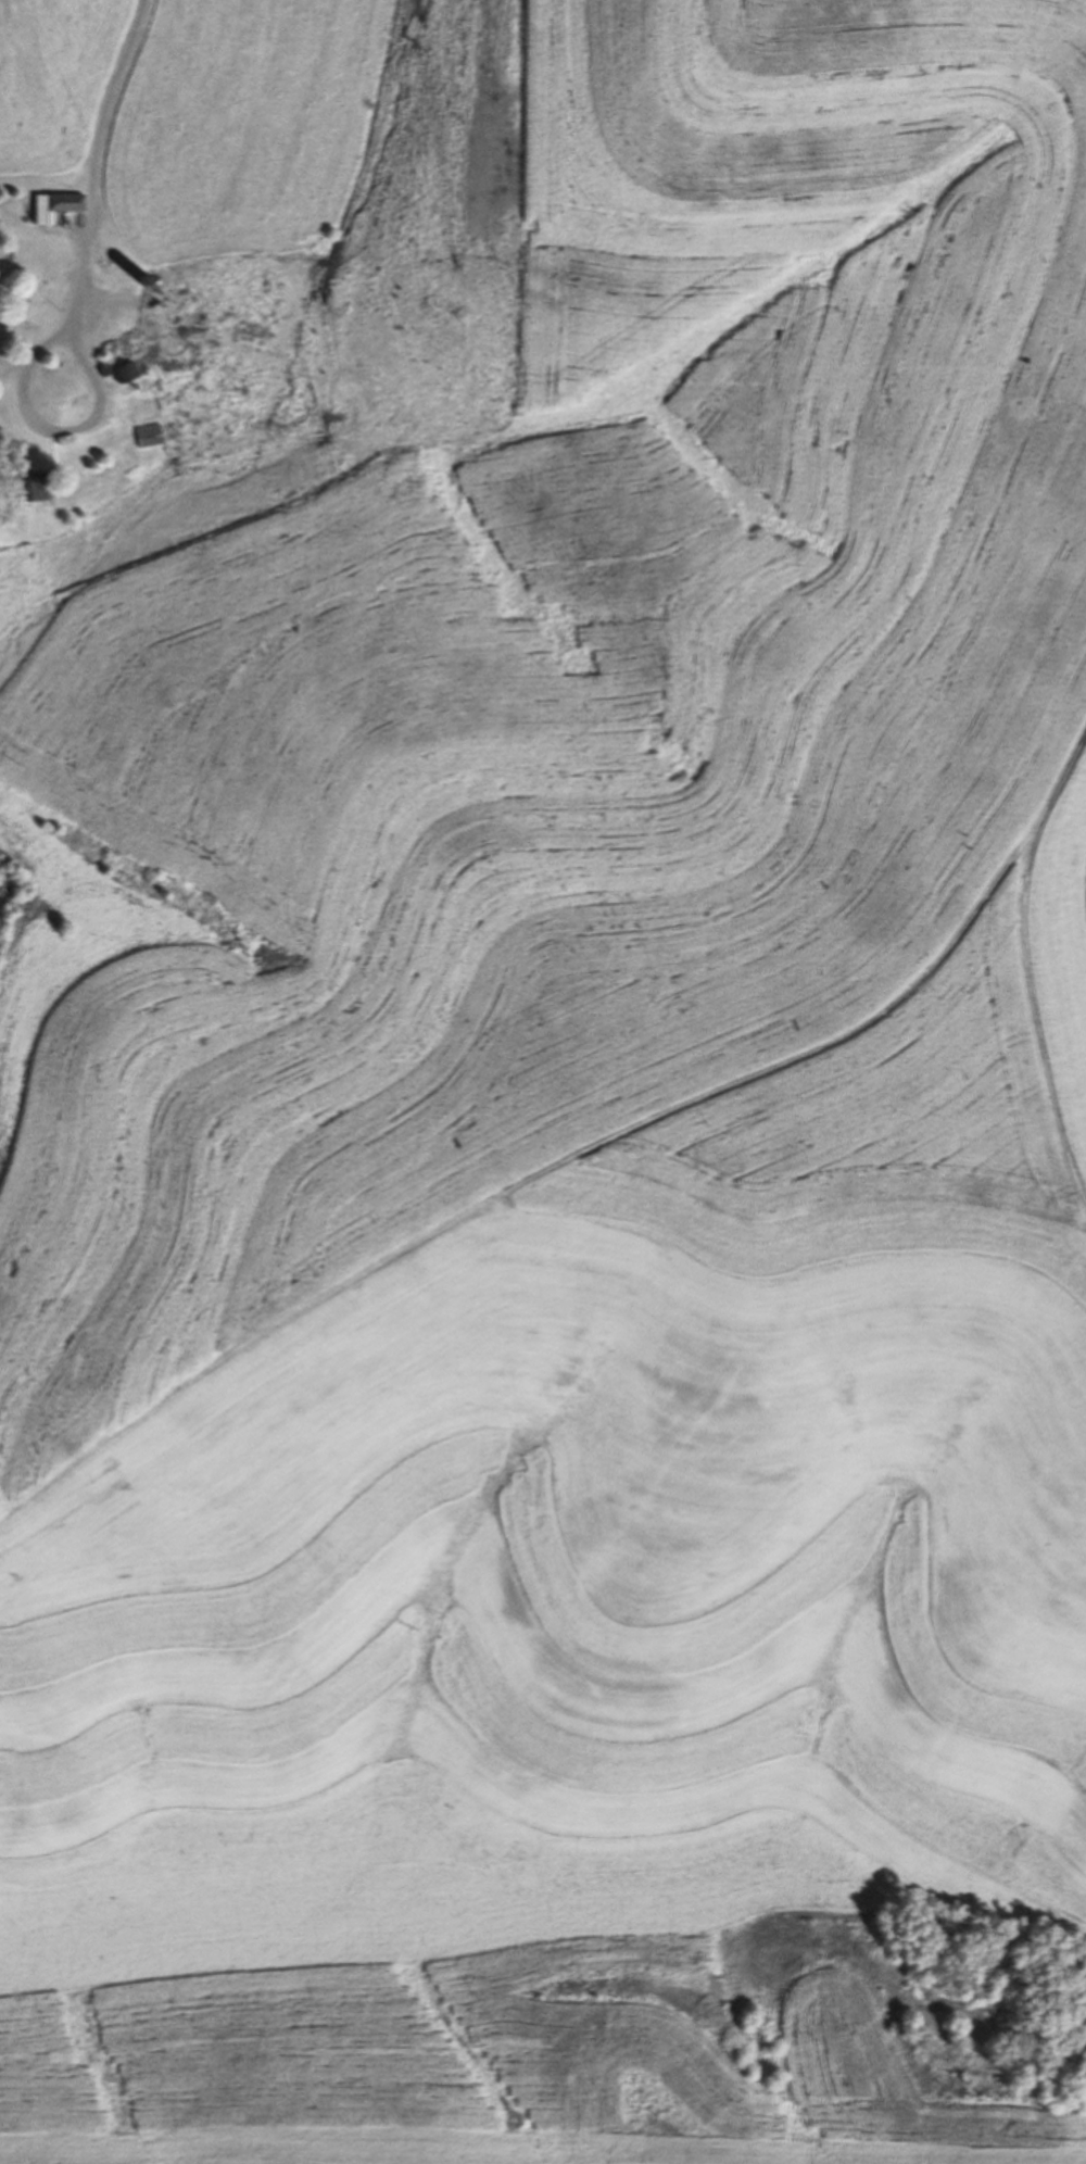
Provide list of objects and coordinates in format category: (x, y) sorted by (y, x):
building: (58, 206)
building: (130, 353)
building: (151, 435)
building: (30, 489)

